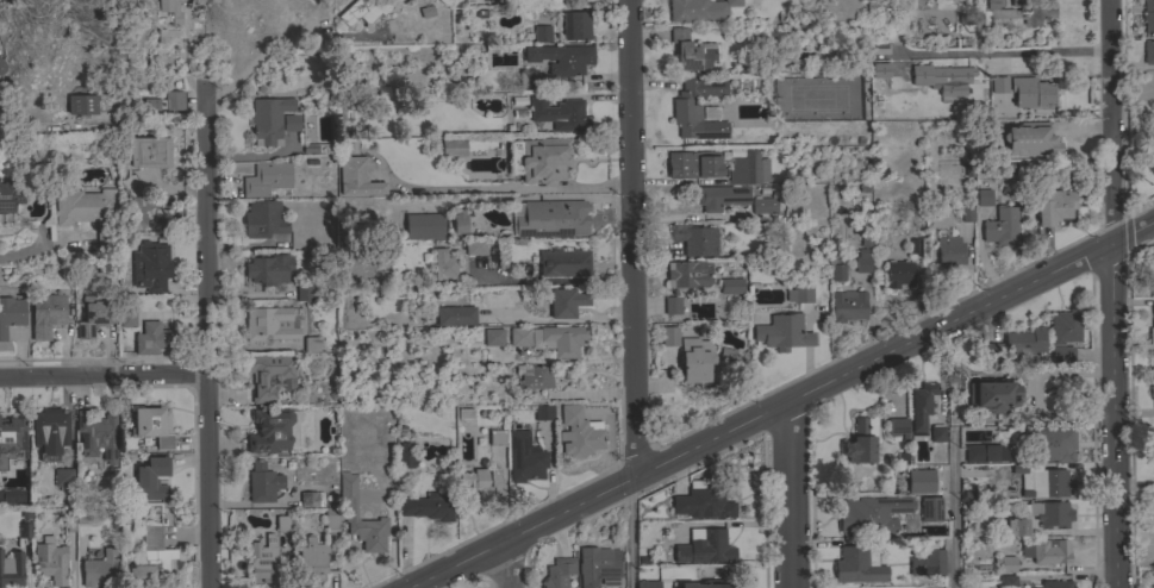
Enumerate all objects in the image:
building: (699, 10)
building: (363, 11)
building: (1148, 11)
building: (1017, 12)
building: (423, 13)
building: (167, 19)
building: (575, 25)
building: (542, 33)
building: (691, 50)
road: (1002, 51)
building: (1148, 51)
building: (561, 58)
road: (262, 61)
building: (2, 67)
building: (879, 70)
building: (528, 77)
building: (941, 80)
building: (998, 85)
building: (1031, 92)
building: (164, 101)
building: (81, 105)
building: (697, 108)
building: (557, 112)
building: (268, 119)
building: (291, 123)
road: (44, 125)
building: (1030, 139)
building: (453, 148)
building: (148, 151)
building: (539, 158)
building: (692, 164)
building: (748, 168)
building: (356, 177)
building: (266, 179)
building: (130, 186)
building: (10, 195)
building: (722, 195)
building: (983, 196)
building: (1053, 206)
building: (763, 207)
building: (88, 212)
building: (967, 213)
building: (262, 218)
building: (551, 218)
building: (148, 220)
building: (459, 221)
building: (424, 225)
building: (1002, 227)
road: (632, 238)
building: (694, 239)
building: (470, 245)
building: (949, 250)
road: (24, 255)
building: (862, 261)
building: (563, 262)
building: (443, 264)
building: (150, 265)
building: (267, 268)
building: (1153, 269)
building: (685, 273)
building: (837, 273)
building: (898, 274)
road: (553, 277)
building: (1150, 280)
building: (730, 284)
building: (302, 292)
building: (799, 293)
road: (1114, 294)
building: (566, 301)
building: (670, 304)
building: (847, 305)
building: (11, 313)
building: (46, 314)
building: (93, 314)
building: (455, 315)
building: (126, 318)
road: (557, 319)
building: (268, 323)
building: (1152, 326)
building: (1063, 327)
building: (782, 332)
building: (492, 336)
building: (519, 336)
building: (154, 338)
building: (666, 338)
road: (210, 339)
building: (561, 339)
building: (1024, 340)
building: (311, 346)
building: (1153, 354)
building: (1061, 355)
building: (692, 358)
building: (1150, 373)
road: (105, 375)
building: (268, 375)
building: (535, 383)
building: (1152, 392)
building: (992, 395)
building: (921, 404)
road: (781, 406)
building: (543, 412)
building: (450, 415)
building: (152, 425)
building: (897, 427)
building: (50, 429)
building: (269, 430)
building: (578, 432)
building: (936, 432)
building: (96, 434)
building: (497, 437)
building: (972, 437)
building: (12, 439)
building: (860, 439)
building: (1050, 443)
building: (975, 453)
building: (404, 456)
building: (524, 457)
building: (0, 469)
building: (63, 477)
building: (150, 478)
building: (482, 480)
building: (1041, 480)
building: (919, 481)
building: (262, 482)
building: (10, 483)
road: (1136, 483)
building: (11, 495)
road: (793, 495)
road: (954, 495)
building: (311, 499)
building: (703, 502)
building: (428, 506)
building: (351, 508)
building: (930, 509)
building: (1048, 513)
building: (872, 514)
building: (76, 515)
building: (283, 521)
building: (330, 523)
building: (1016, 527)
building: (24, 530)
road: (635, 532)
building: (713, 545)
building: (1043, 550)
building: (681, 552)
building: (154, 558)
building: (312, 558)
building: (263, 559)
building: (50, 562)
building: (927, 563)
building: (1006, 563)
road: (507, 564)
building: (857, 564)
building: (11, 567)
building: (99, 567)
building: (598, 567)
building: (557, 573)
building: (1006, 581)
building: (647, 584)
building: (1055, 584)
building: (706, 586)

